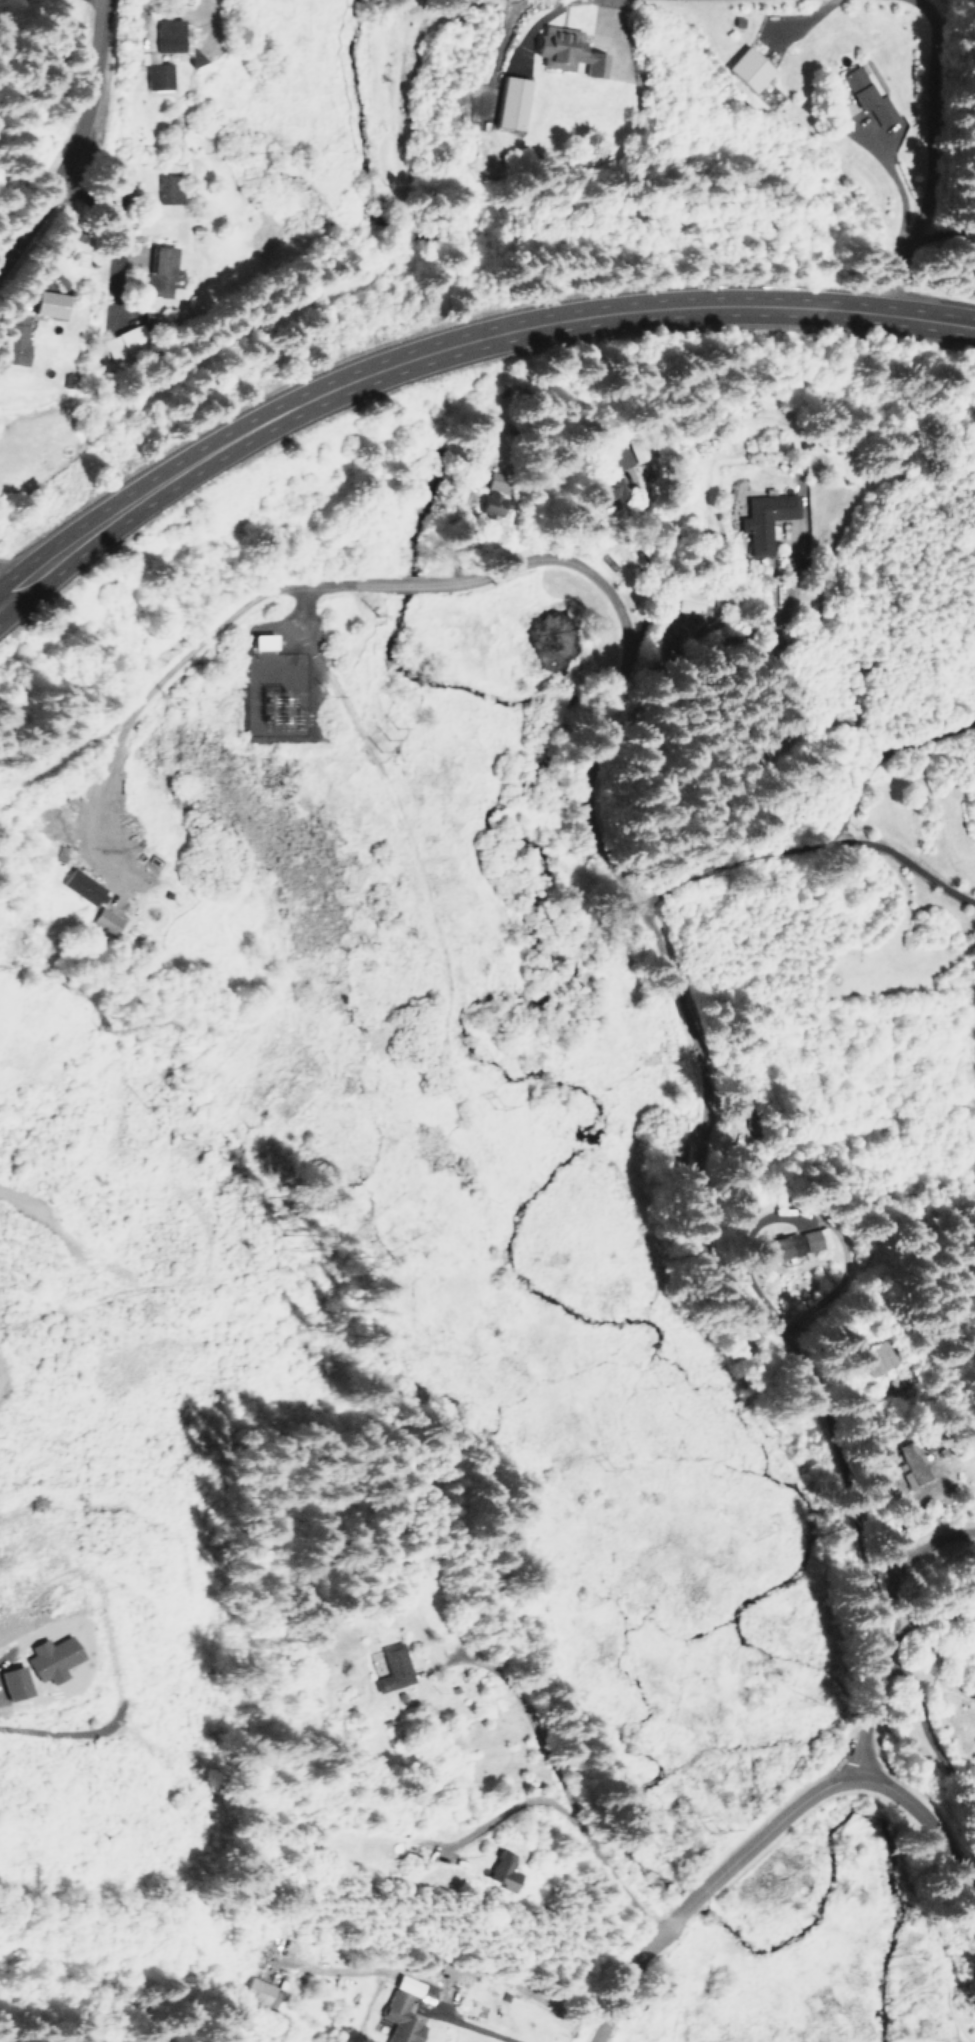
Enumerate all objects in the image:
building: (174, 39)
building: (564, 50)
building: (746, 69)
building: (156, 75)
building: (861, 87)
building: (507, 101)
road: (83, 148)
road: (901, 158)
building: (166, 188)
building: (157, 271)
building: (45, 303)
building: (14, 339)
building: (126, 340)
road: (454, 345)
building: (619, 459)
building: (608, 487)
building: (494, 498)
building: (763, 518)
building: (693, 601)
building: (260, 640)
power substation: (276, 691)
road: (673, 839)
building: (80, 887)
building: (104, 919)
road: (629, 1080)
building: (776, 1246)
building: (866, 1358)
building: (911, 1463)
building: (39, 1659)
building: (392, 1666)
building: (8, 1683)
road: (568, 1817)
road: (762, 1830)
building: (498, 1870)
building: (455, 1970)
building: (256, 1990)
building: (401, 2010)
road: (468, 2031)

